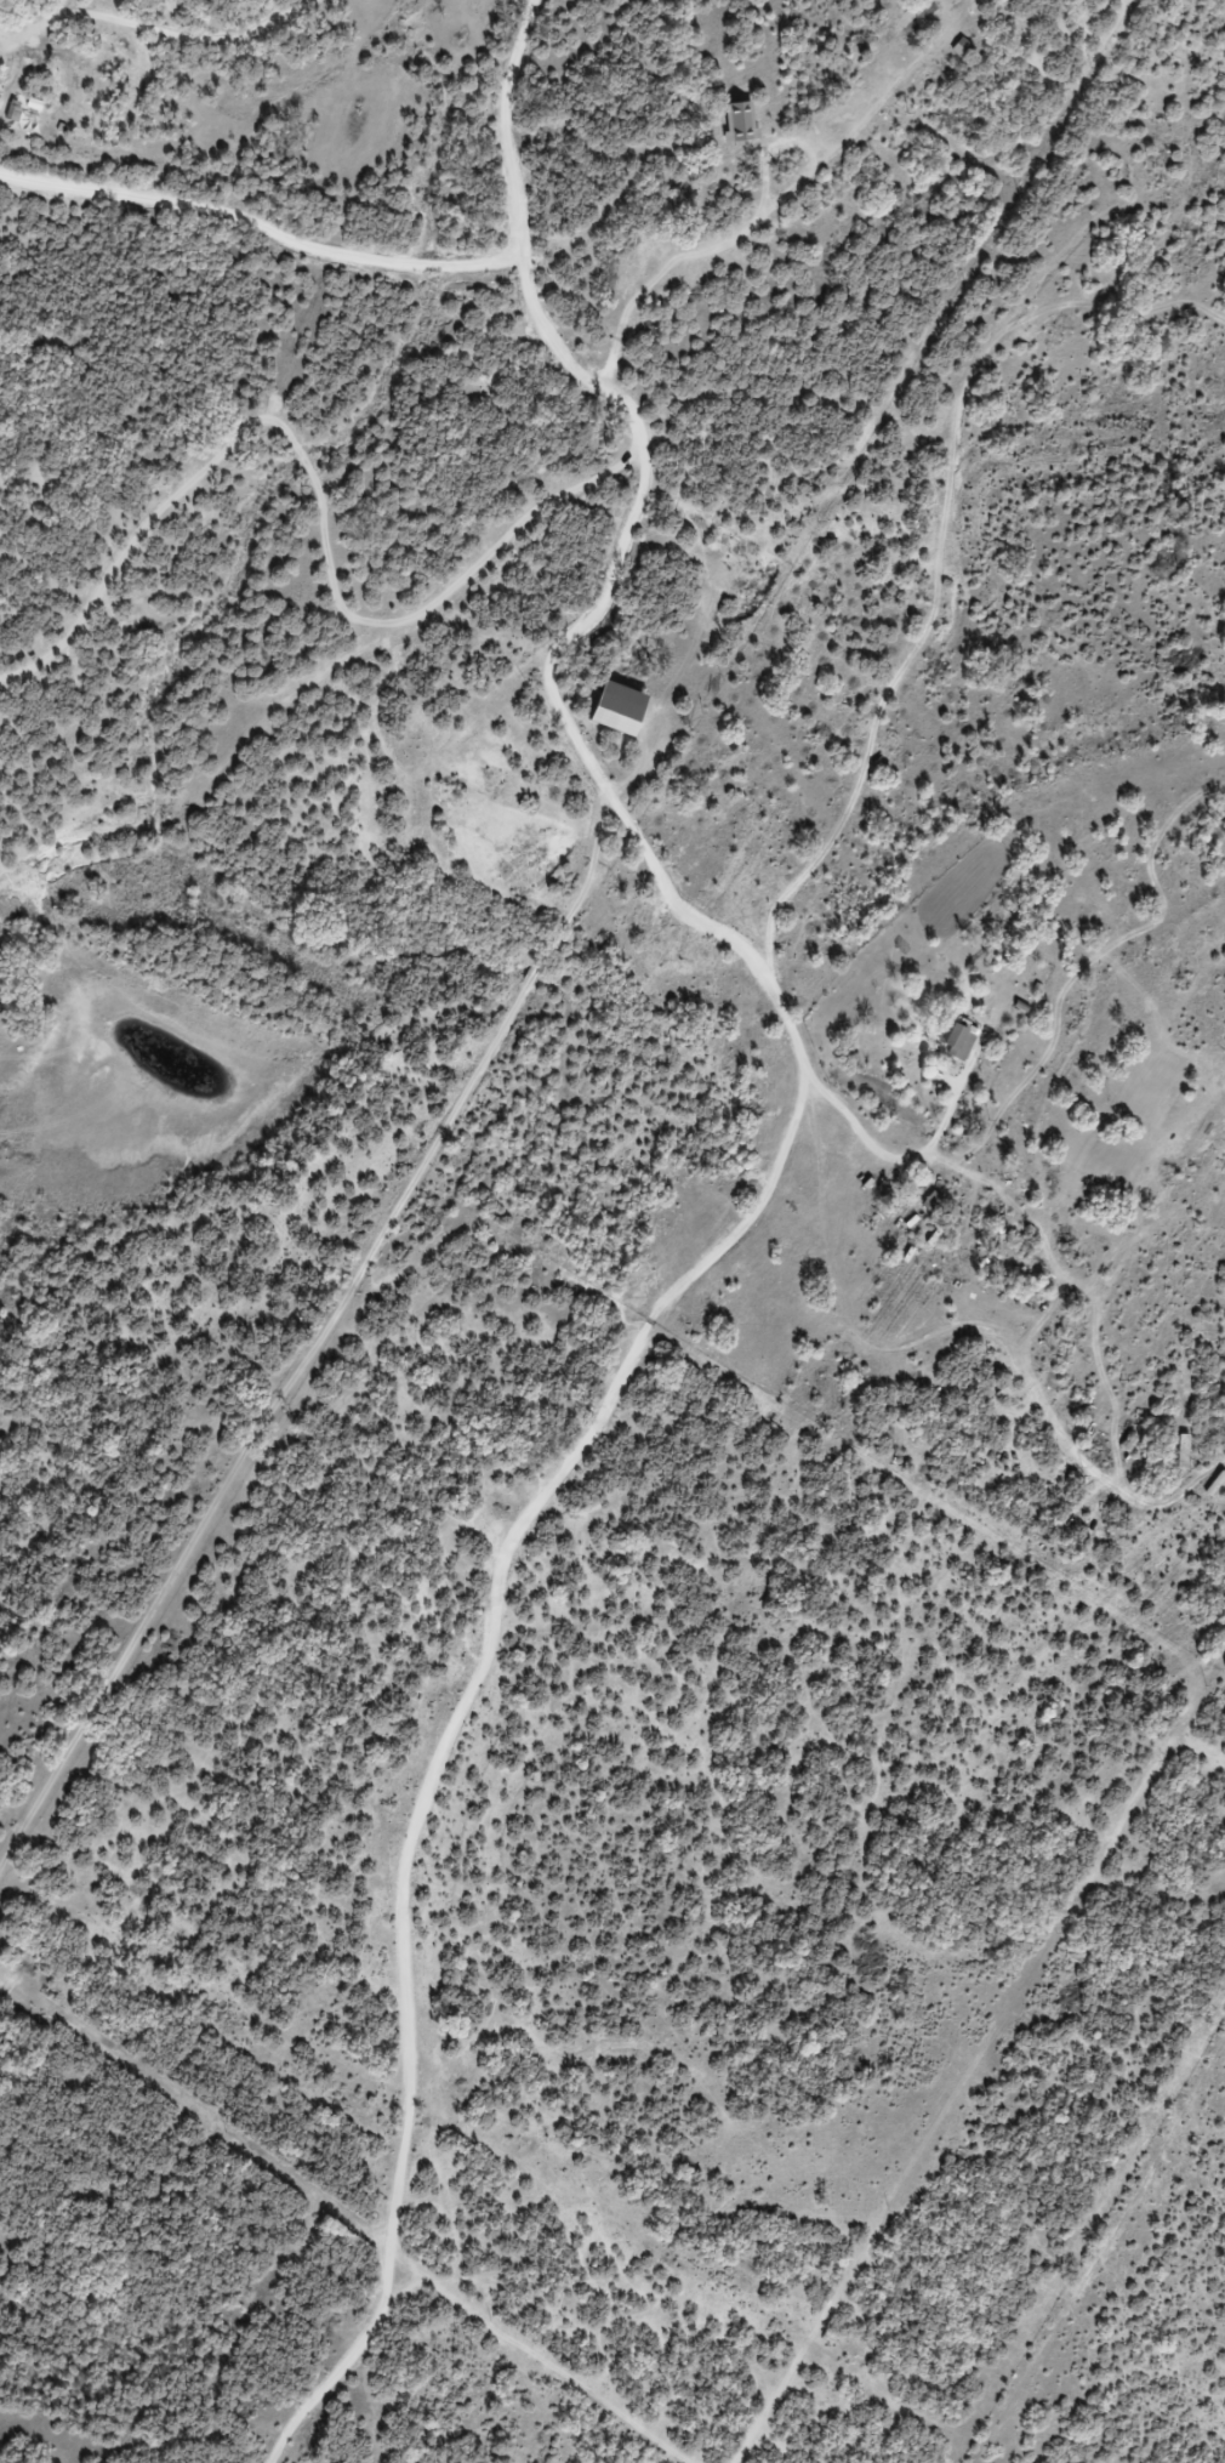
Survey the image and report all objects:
building: (907, 30)
building: (952, 56)
building: (730, 129)
road: (257, 228)
road: (633, 497)
building: (610, 716)
building: (944, 1043)
road: (752, 1230)
building: (1172, 1460)

